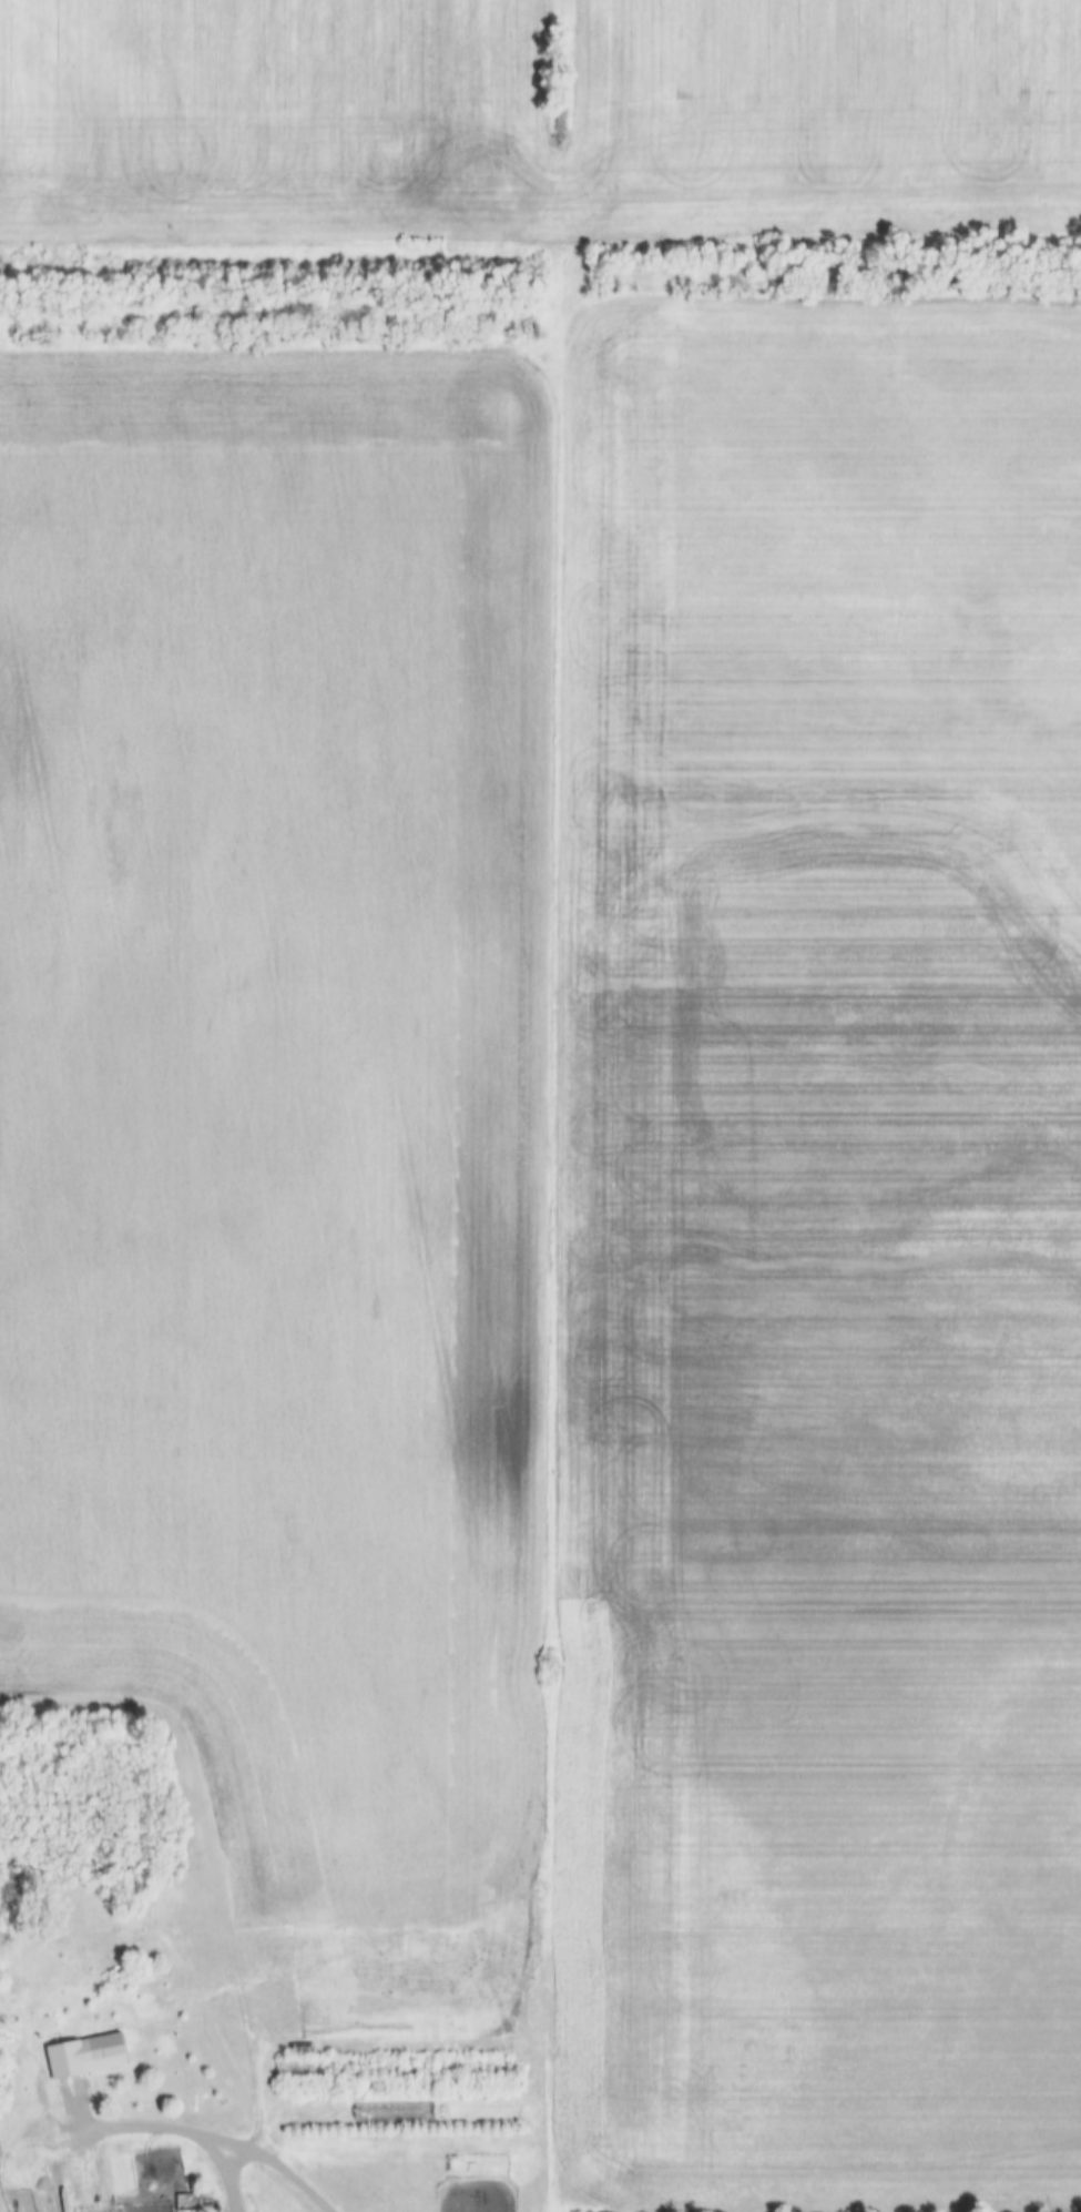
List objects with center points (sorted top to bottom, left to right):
building: (112, 2049)
road: (205, 2132)
road: (26, 2141)
road: (239, 2180)
building: (32, 2191)

